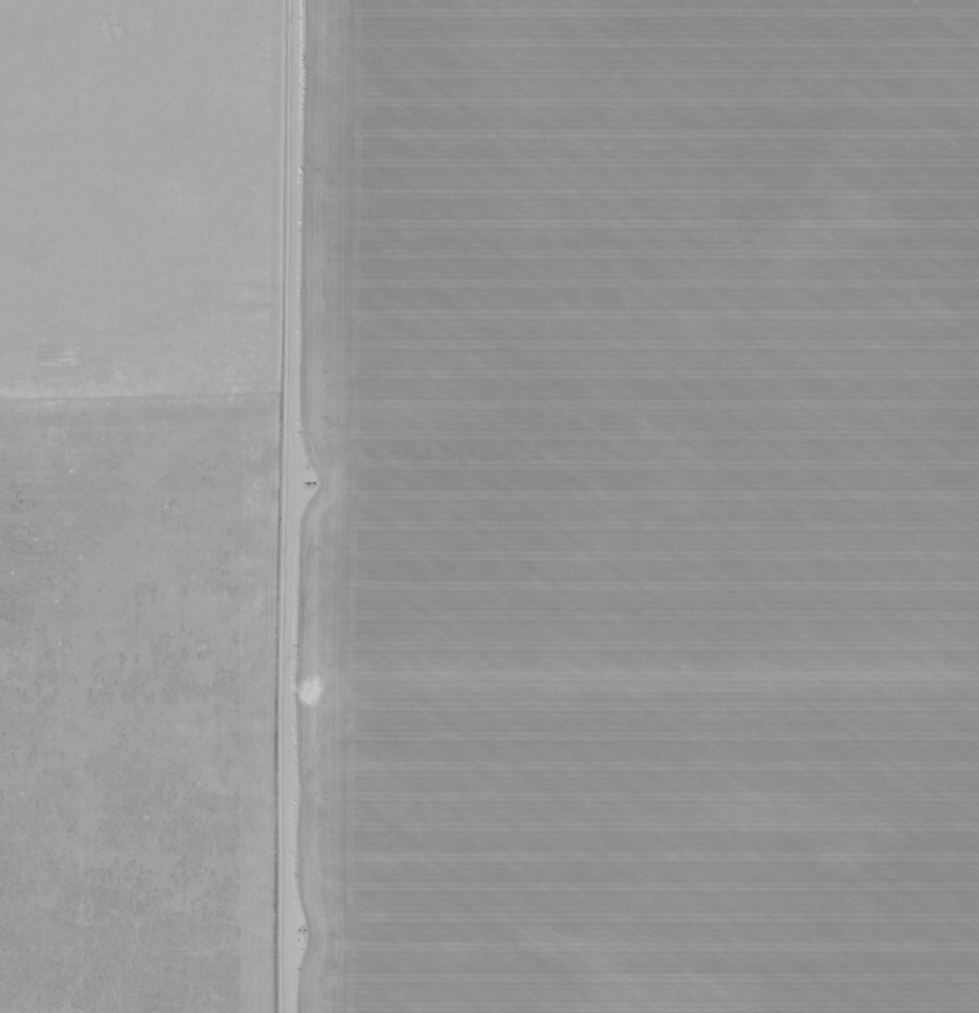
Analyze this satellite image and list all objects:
road: (147, 442)
road: (294, 506)
road: (635, 749)

